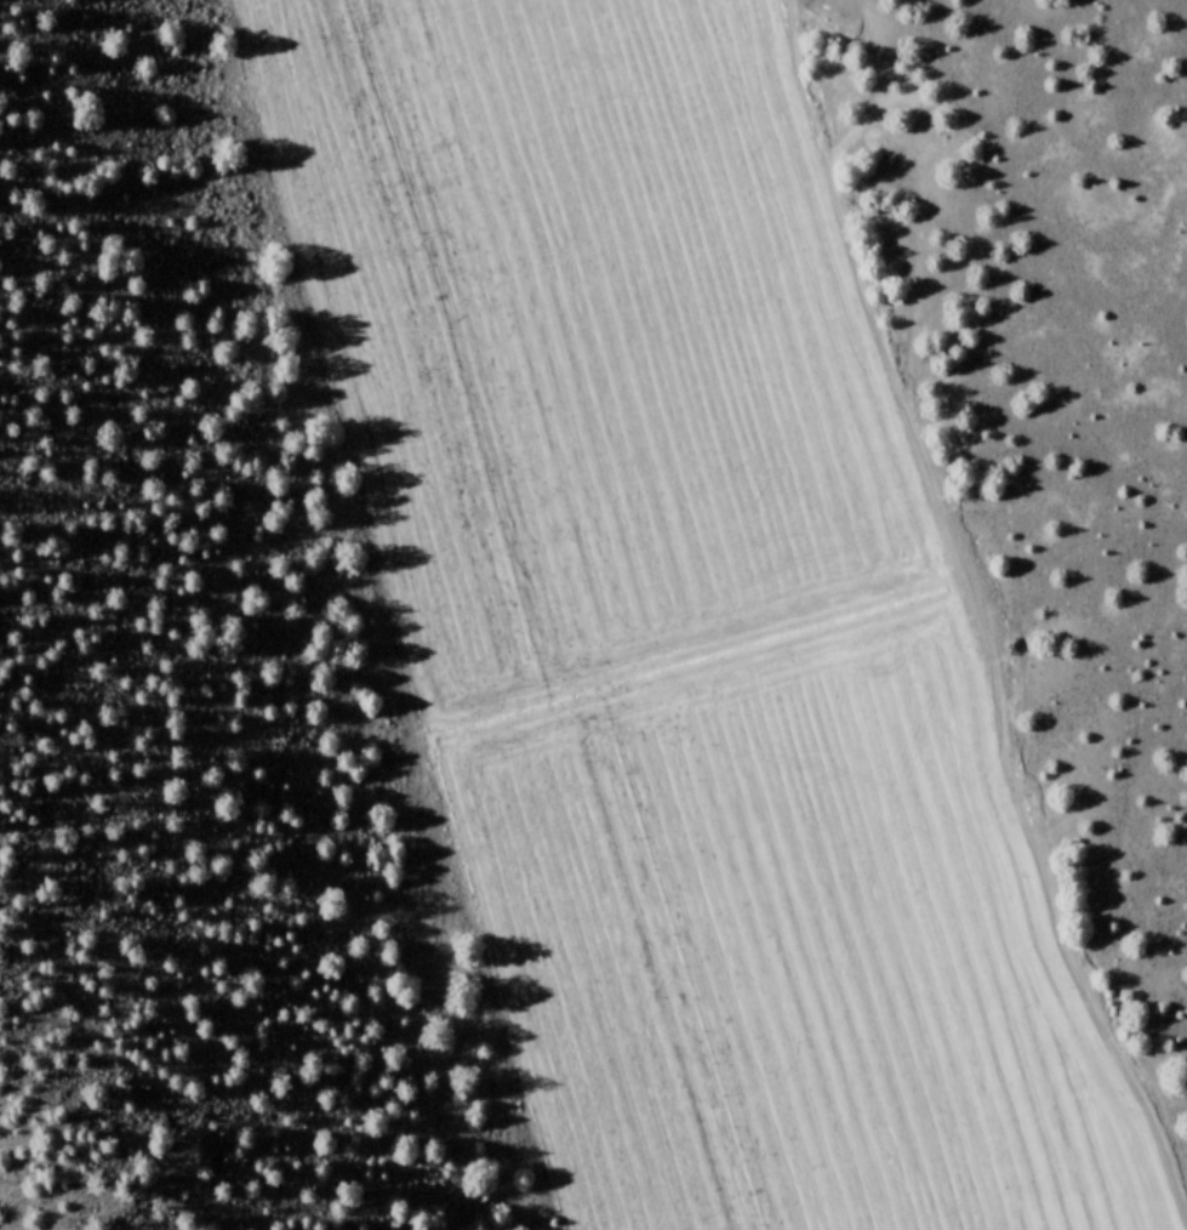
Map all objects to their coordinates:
road: (976, 615)

